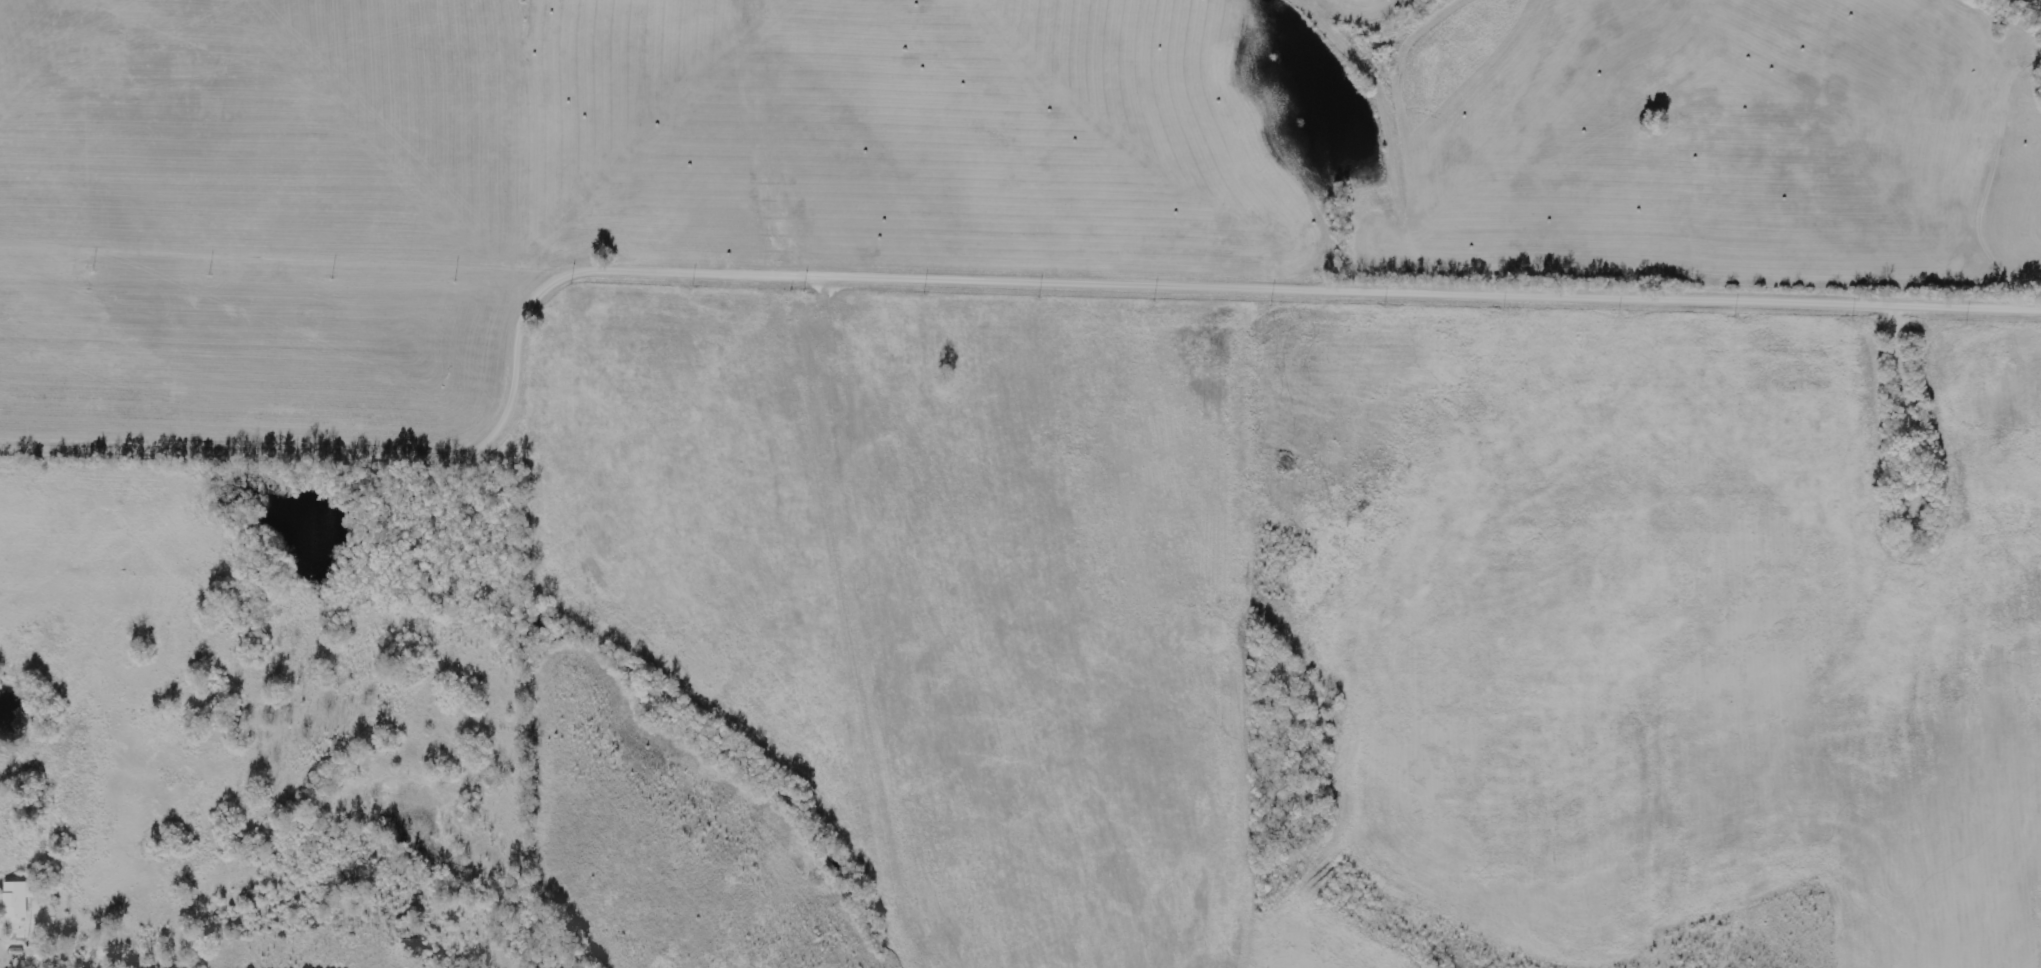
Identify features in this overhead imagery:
road: (961, 277)
park: (1898, 437)
building: (18, 900)
building: (36, 956)

